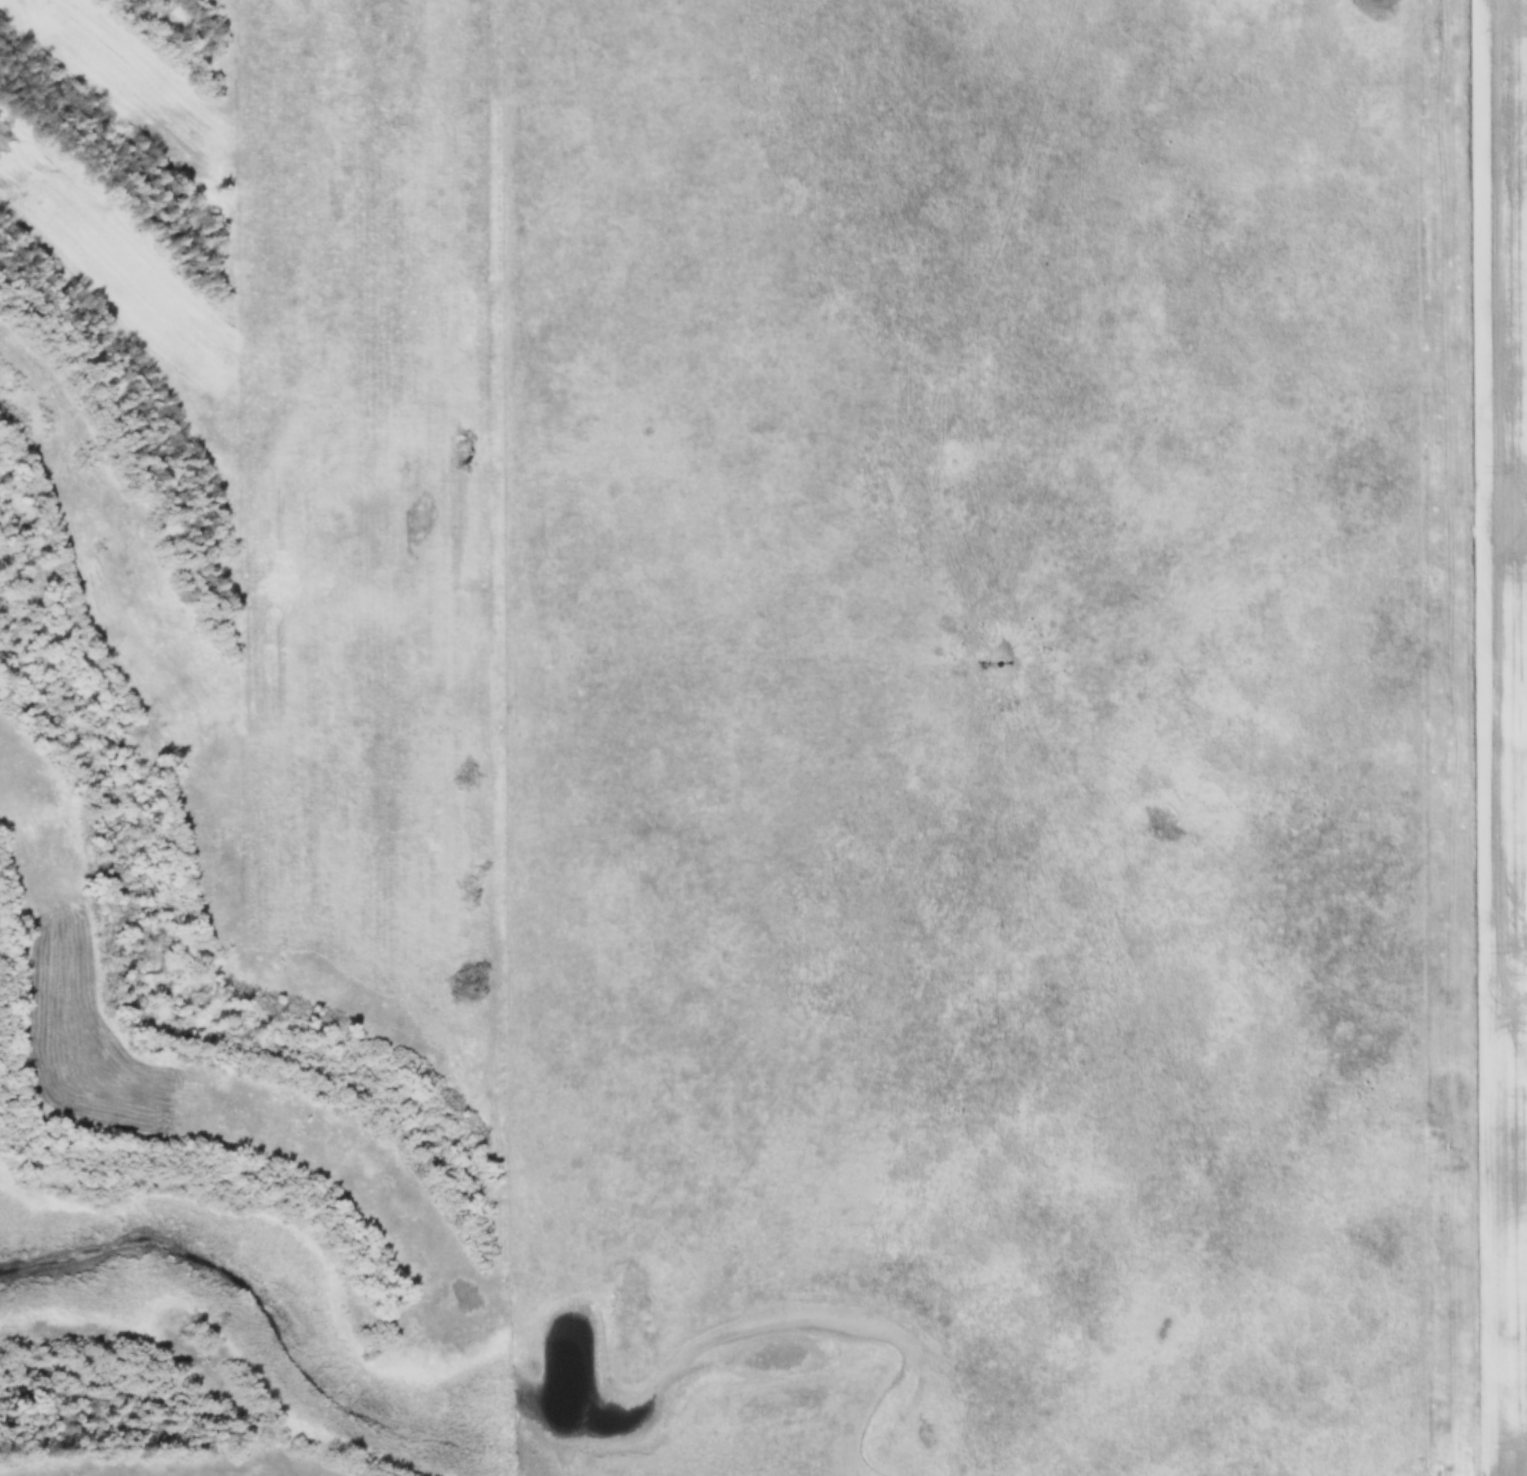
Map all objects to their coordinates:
road: (1450, 738)

